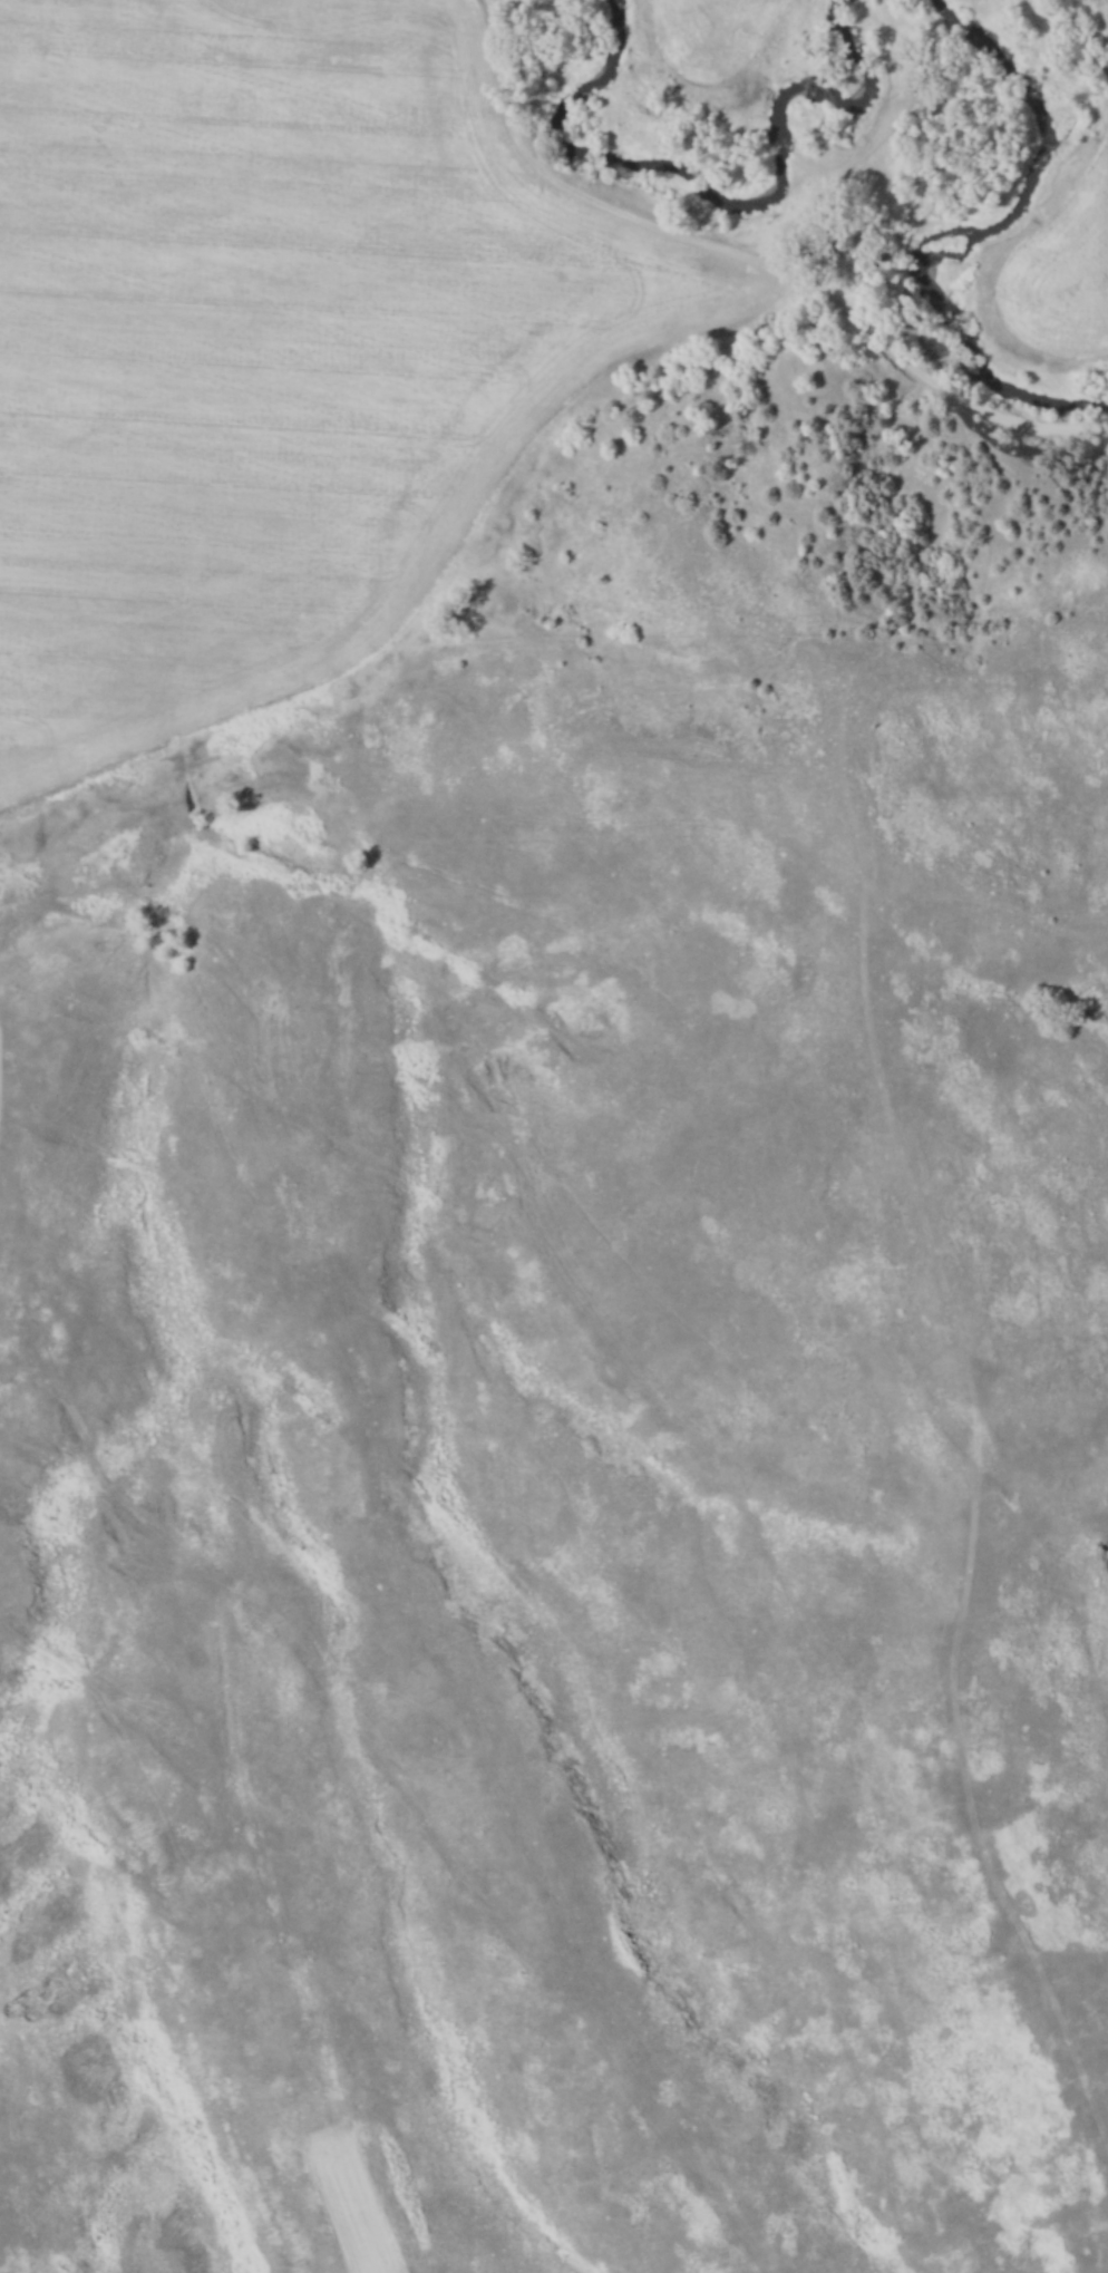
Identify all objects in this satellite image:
crop: (718, 38)
crop: (1062, 278)

